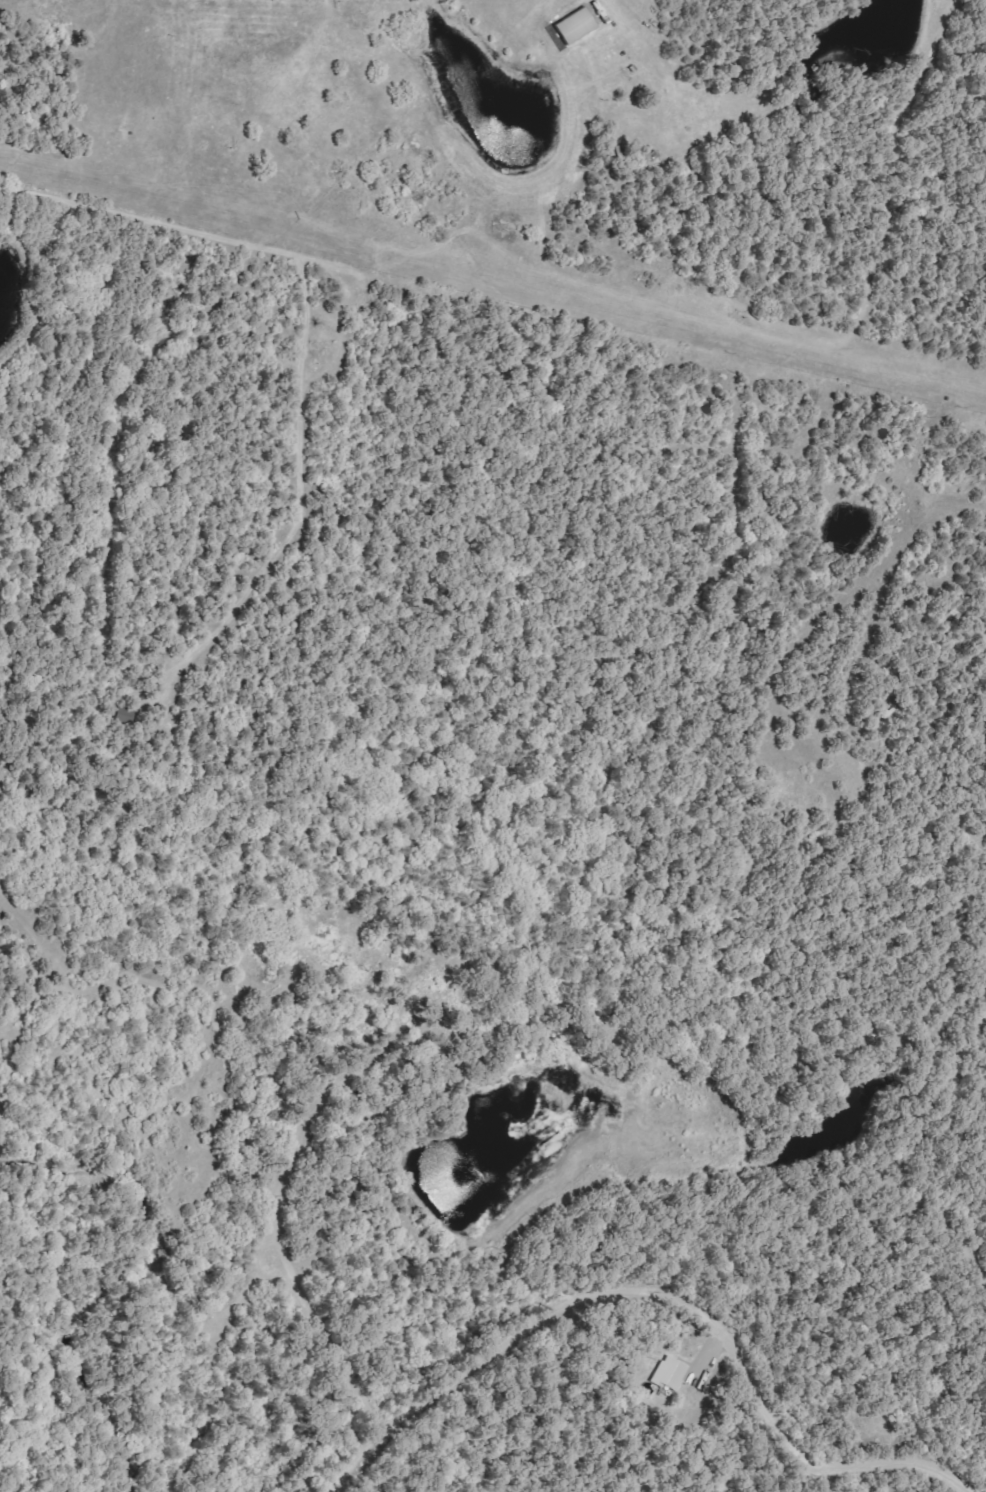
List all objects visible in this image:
building: (577, 26)
road: (147, 86)
road: (59, 263)
road: (724, 672)
road: (497, 1083)
road: (684, 1245)
road: (660, 1292)
road: (559, 1360)
building: (670, 1373)
road: (803, 1474)

